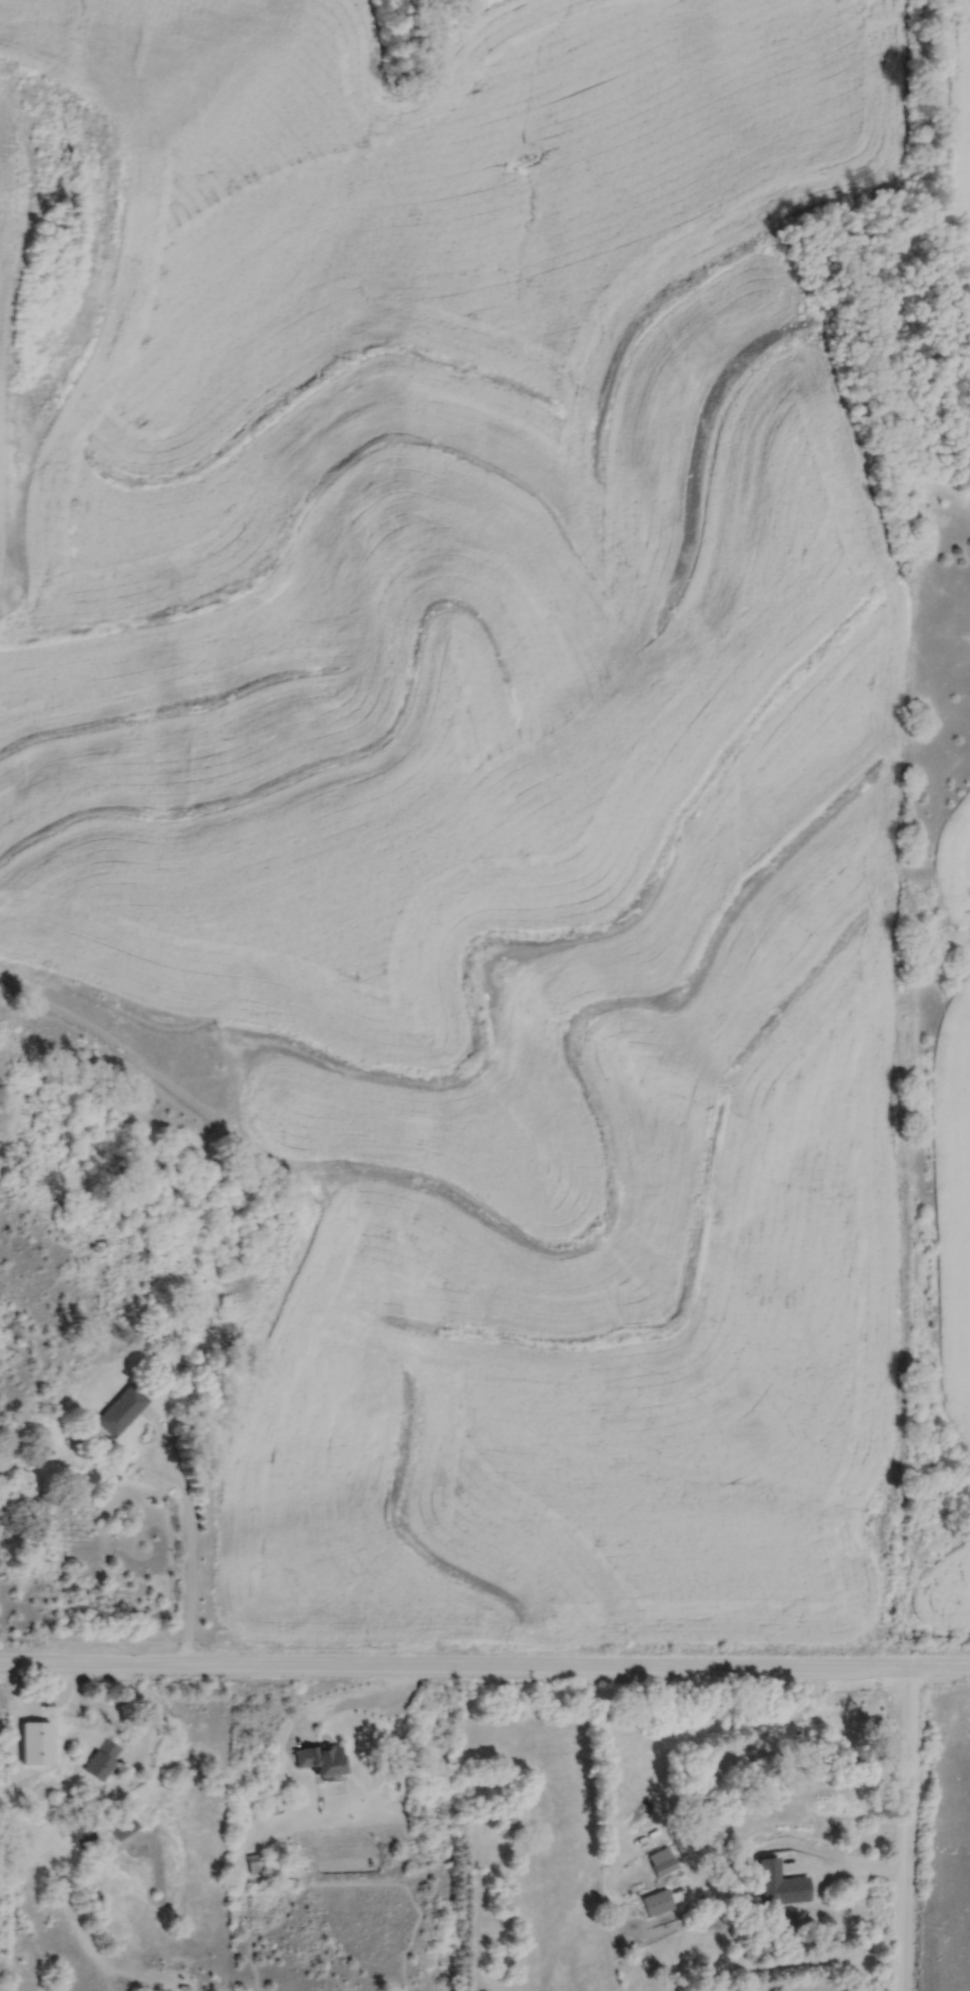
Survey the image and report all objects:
building: (125, 1412)
road: (188, 1535)
road: (485, 1651)
road: (362, 1686)
building: (107, 1761)
road: (902, 1824)
building: (665, 1862)
road: (841, 1874)
building: (784, 1886)
building: (660, 1903)

